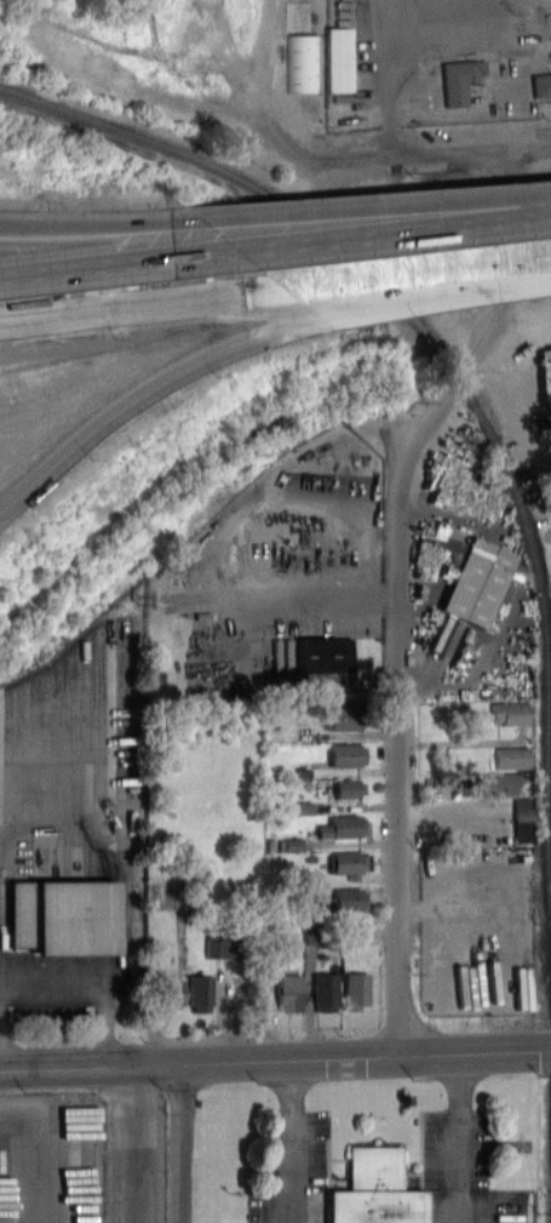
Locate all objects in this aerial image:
road: (384, 52)
building: (339, 57)
building: (302, 61)
parking lot: (437, 61)
building: (453, 78)
building: (538, 82)
road: (546, 154)
road: (377, 215)
road: (102, 227)
road: (394, 233)
road: (117, 264)
road: (417, 274)
road: (431, 293)
road: (140, 305)
railway: (450, 362)
road: (142, 390)
road: (219, 544)
parking lot: (464, 573)
parking lot: (270, 588)
building: (464, 590)
road: (515, 594)
road: (248, 644)
building: (317, 653)
building: (505, 710)
building: (338, 753)
road: (397, 754)
building: (507, 756)
building: (489, 781)
building: (343, 787)
building: (295, 805)
building: (516, 807)
parking lot: (65, 818)
road: (117, 818)
building: (337, 824)
building: (285, 842)
building: (344, 859)
building: (340, 898)
building: (57, 915)
building: (270, 936)
road: (99, 972)
building: (351, 988)
building: (165, 990)
building: (282, 990)
building: (320, 990)
building: (195, 991)
road: (275, 1056)
road: (459, 1135)
road: (293, 1139)
road: (182, 1141)
road: (131, 1142)
road: (39, 1149)
parking lot: (81, 1156)
building: (85, 1167)
parking lot: (292, 1167)
parking lot: (460, 1171)
building: (377, 1190)

